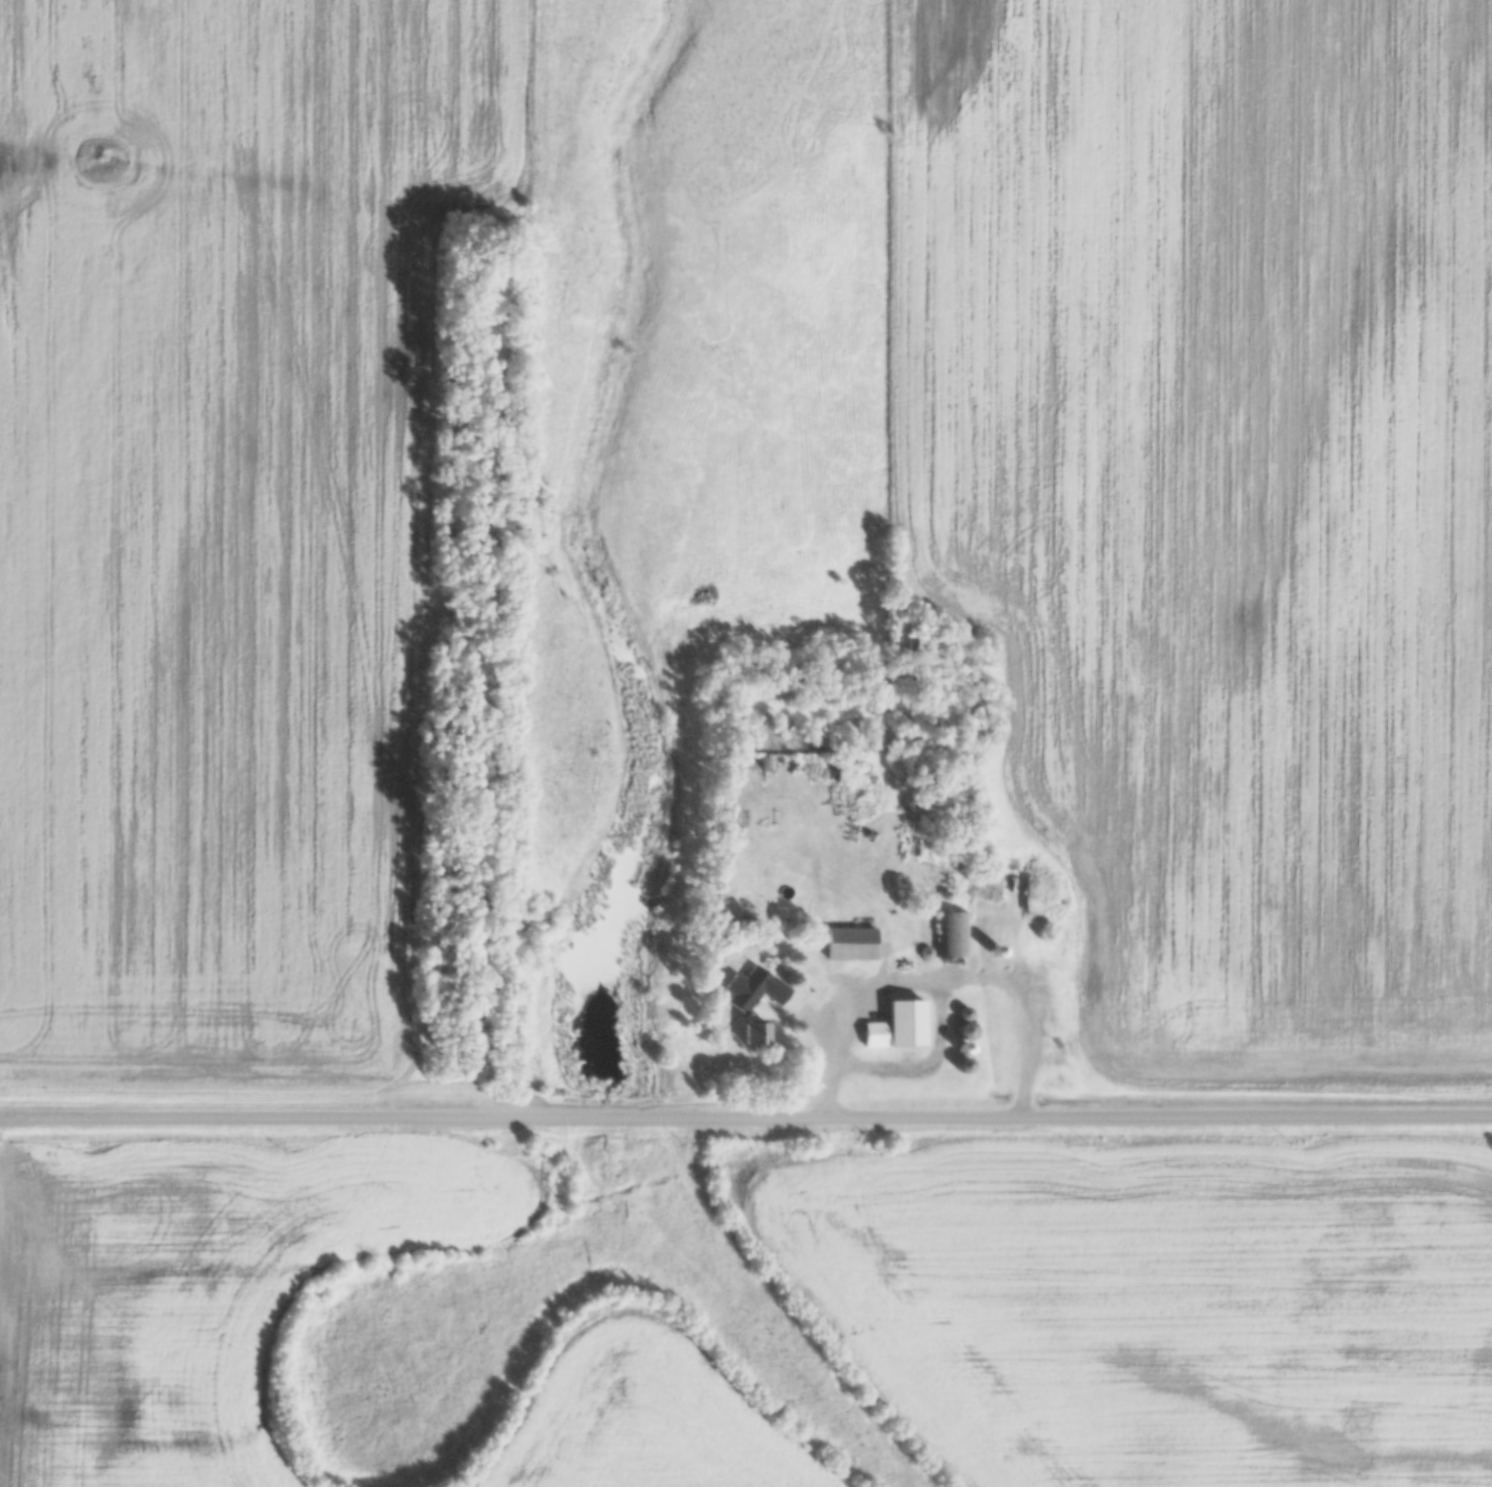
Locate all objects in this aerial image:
building: (951, 934)
building: (849, 944)
road: (940, 978)
building: (904, 1023)
building: (964, 1028)
building: (872, 1034)
building: (753, 1035)
building: (963, 1066)
road: (746, 1116)

